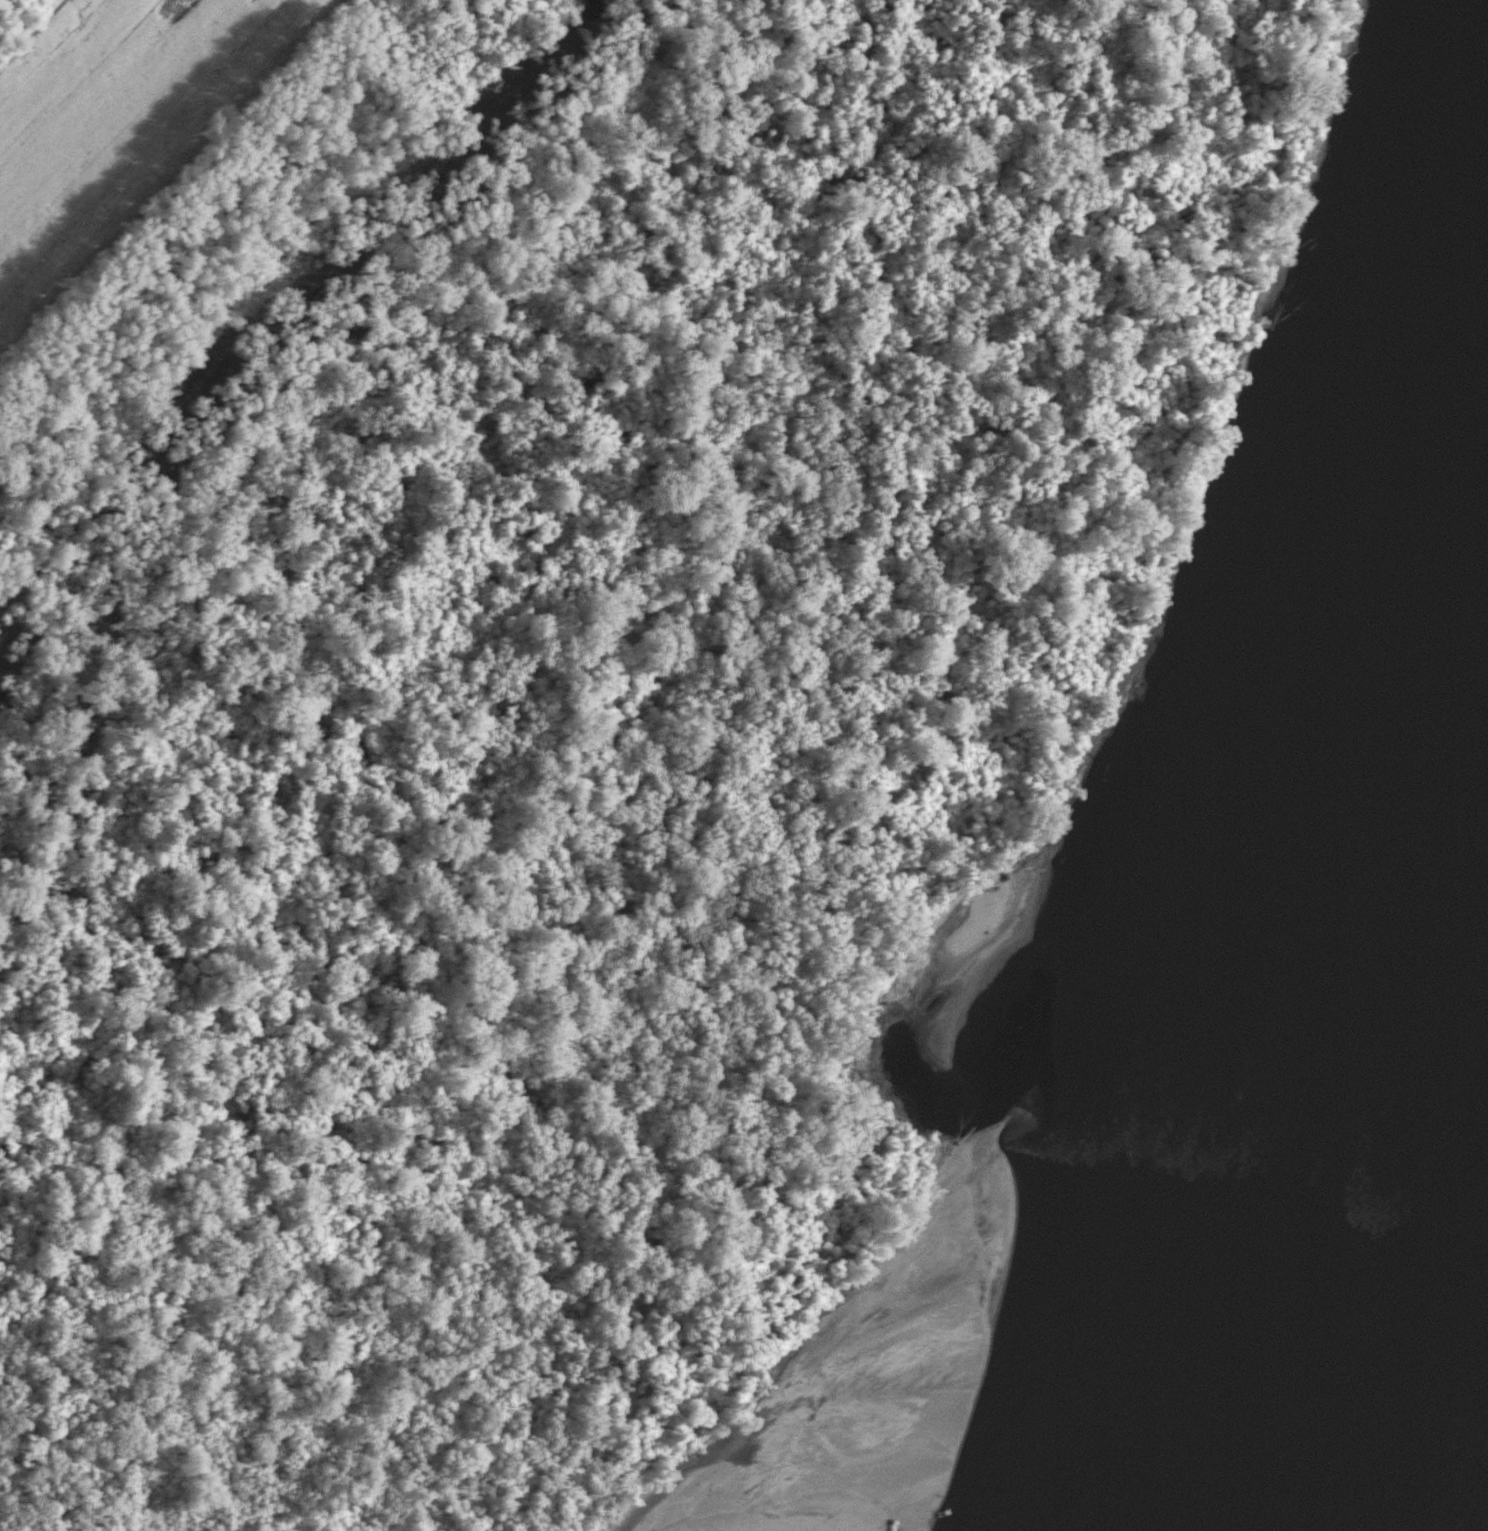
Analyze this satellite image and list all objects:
river: (1450, 1400)

